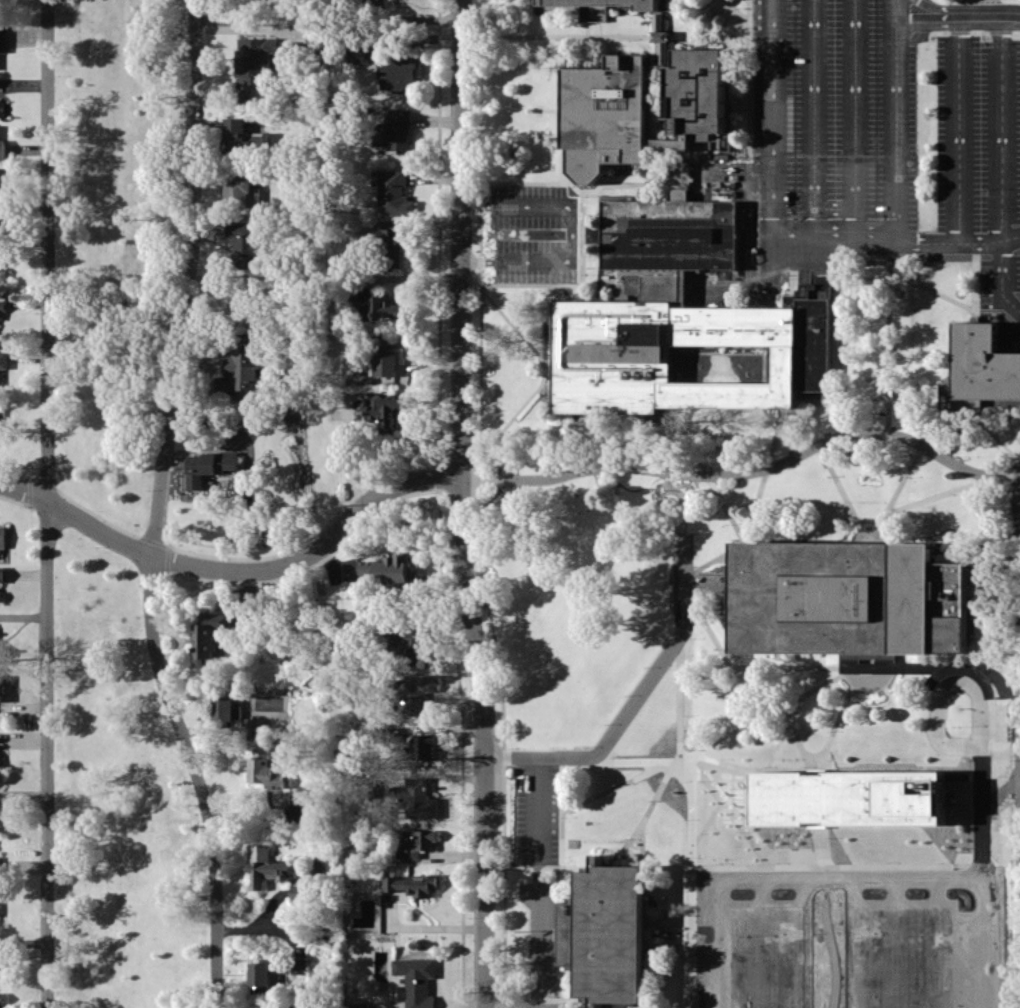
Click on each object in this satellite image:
road: (736, 11)
road: (957, 15)
road: (691, 18)
road: (488, 31)
road: (957, 31)
building: (659, 34)
road: (558, 36)
road: (705, 36)
building: (3, 38)
road: (608, 45)
road: (566, 51)
building: (357, 54)
road: (741, 61)
building: (254, 66)
road: (653, 68)
building: (398, 72)
road: (649, 83)
building: (694, 93)
building: (2, 107)
road: (771, 114)
road: (812, 114)
road: (853, 114)
road: (654, 115)
building: (606, 117)
road: (895, 118)
parking lot: (824, 127)
road: (958, 128)
building: (394, 131)
building: (235, 134)
building: (2, 149)
parking lot: (981, 155)
road: (665, 160)
road: (724, 162)
road: (647, 166)
road: (1001, 166)
road: (749, 172)
road: (523, 181)
road: (605, 183)
road: (714, 184)
building: (242, 192)
road: (713, 192)
building: (3, 193)
building: (394, 193)
road: (832, 207)
building: (2, 223)
parking lot: (571, 233)
road: (571, 233)
building: (595, 233)
building: (667, 233)
road: (580, 237)
road: (896, 237)
building: (244, 244)
building: (392, 244)
building: (0, 264)
road: (889, 277)
road: (974, 281)
road: (559, 284)
road: (763, 291)
road: (575, 293)
building: (2, 306)
building: (386, 308)
building: (690, 326)
road: (1015, 326)
road: (888, 334)
road: (840, 346)
building: (386, 356)
building: (3, 359)
building: (242, 365)
road: (543, 367)
building: (978, 368)
road: (547, 371)
road: (679, 379)
road: (868, 396)
building: (385, 409)
building: (1, 425)
road: (993, 434)
road: (768, 461)
building: (211, 466)
road: (1011, 466)
road: (830, 469)
road: (497, 470)
road: (668, 470)
road: (750, 470)
road: (707, 472)
road: (905, 473)
road: (1019, 482)
road: (672, 488)
road: (950, 490)
road: (45, 503)
road: (463, 504)
road: (481, 504)
road: (156, 508)
park: (117, 513)
road: (869, 518)
building: (2, 536)
building: (385, 568)
road: (237, 569)
building: (2, 574)
road: (997, 575)
road: (707, 587)
building: (843, 595)
building: (0, 596)
road: (994, 628)
building: (209, 633)
building: (411, 640)
building: (2, 649)
road: (723, 652)
road: (1019, 664)
building: (852, 665)
road: (821, 666)
building: (889, 666)
road: (962, 666)
building: (1, 688)
building: (418, 692)
road: (779, 706)
building: (225, 708)
road: (894, 709)
building: (254, 726)
building: (423, 746)
road: (723, 757)
building: (265, 769)
building: (0, 771)
road: (619, 784)
road: (537, 785)
road: (978, 794)
building: (850, 797)
building: (421, 799)
parking lot: (536, 805)
building: (2, 807)
building: (295, 812)
road: (646, 814)
road: (829, 831)
building: (416, 842)
road: (641, 843)
road: (726, 854)
building: (267, 866)
road: (537, 867)
road: (537, 877)
road: (560, 878)
road: (766, 883)
road: (808, 883)
road: (852, 883)
road: (892, 883)
road: (933, 883)
building: (411, 884)
building: (916, 890)
parking lot: (831, 891)
building: (297, 892)
building: (605, 933)
road: (674, 948)
road: (747, 951)
road: (690, 955)
building: (299, 965)
building: (2, 969)
road: (537, 972)
building: (260, 973)
road: (727, 979)
building: (415, 981)
road: (556, 997)
building: (1, 1000)
road: (536, 1004)
building: (360, 1005)
road: (611, 1005)
road: (639, 1005)
building: (279, 1006)

